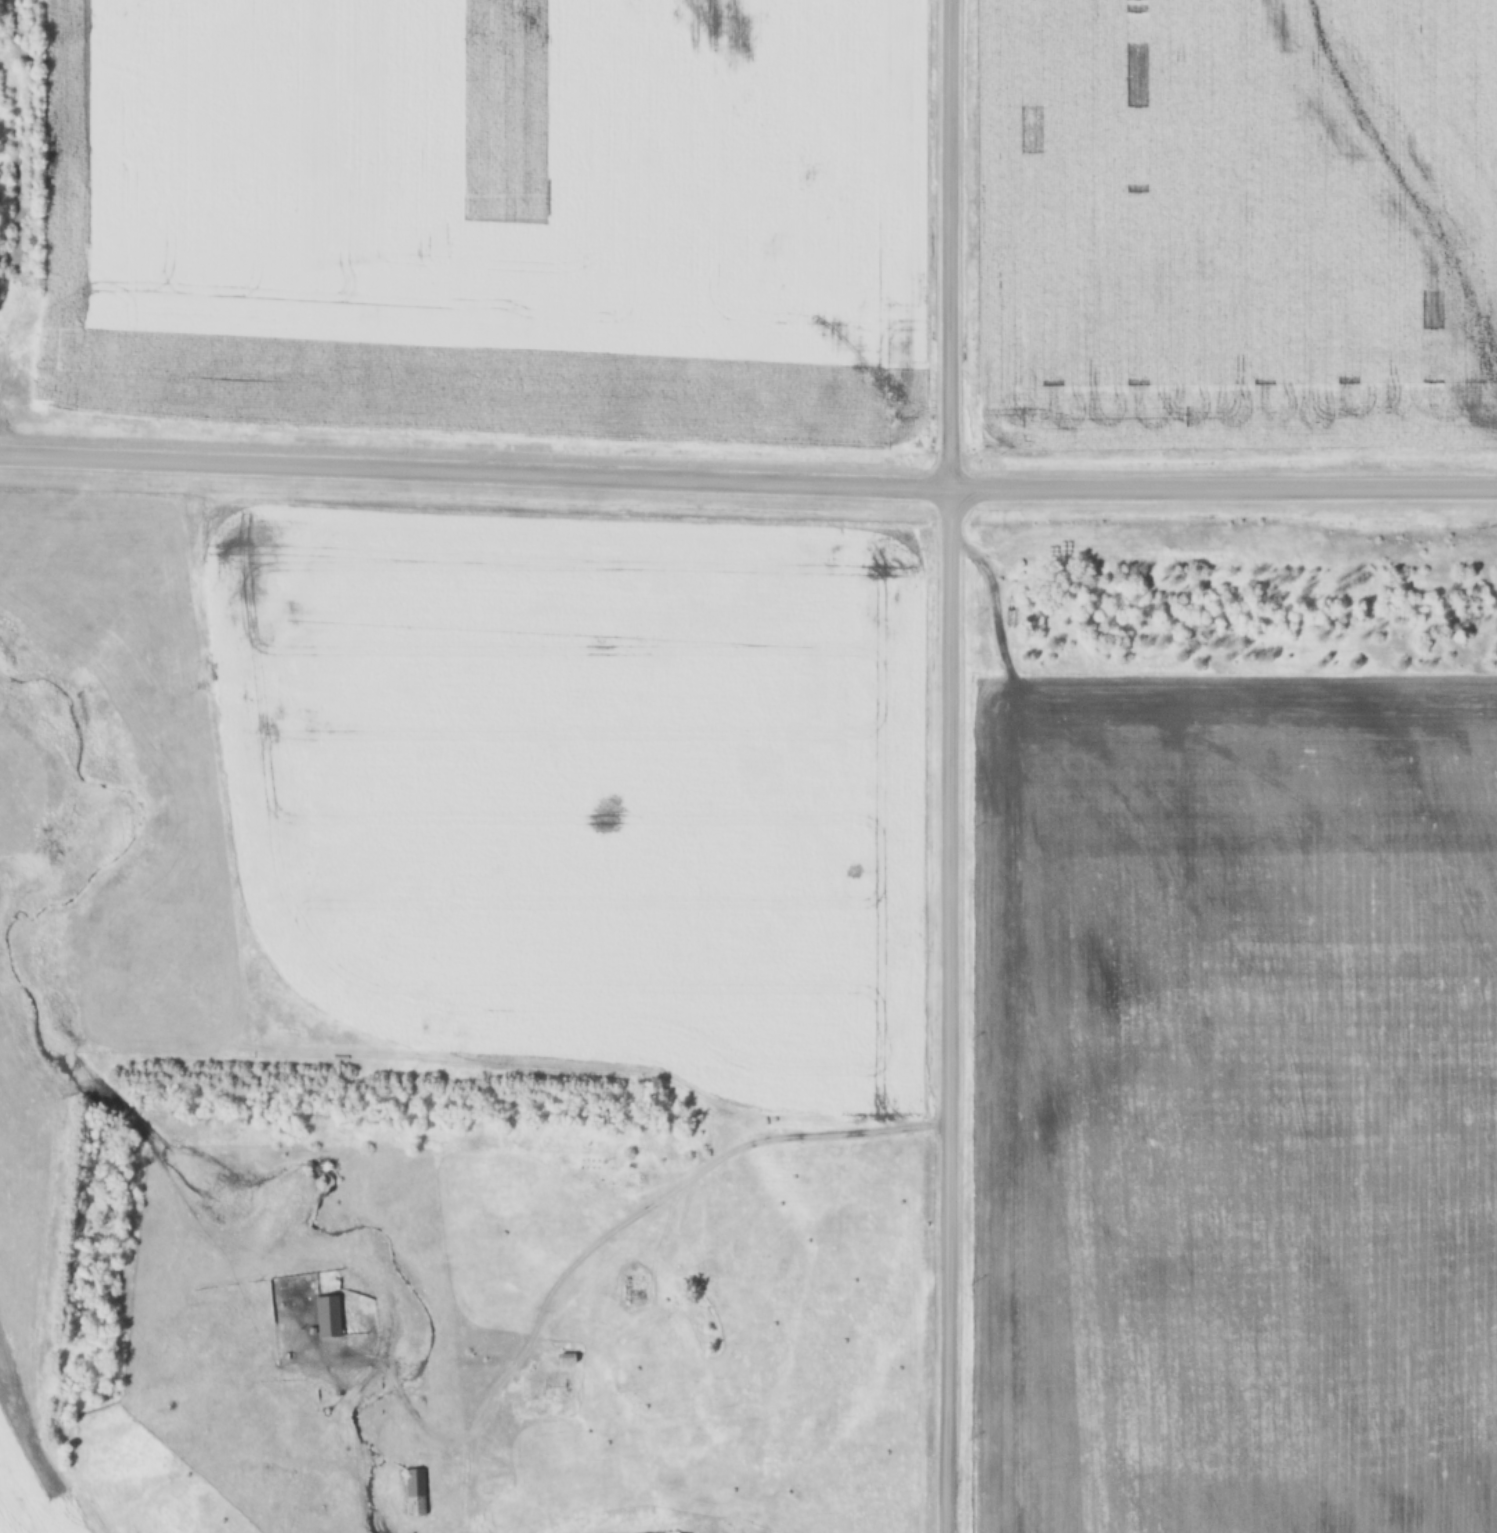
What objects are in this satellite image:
road: (748, 486)
road: (949, 766)
building: (634, 1179)
building: (328, 1317)
building: (567, 1360)
building: (413, 1491)

